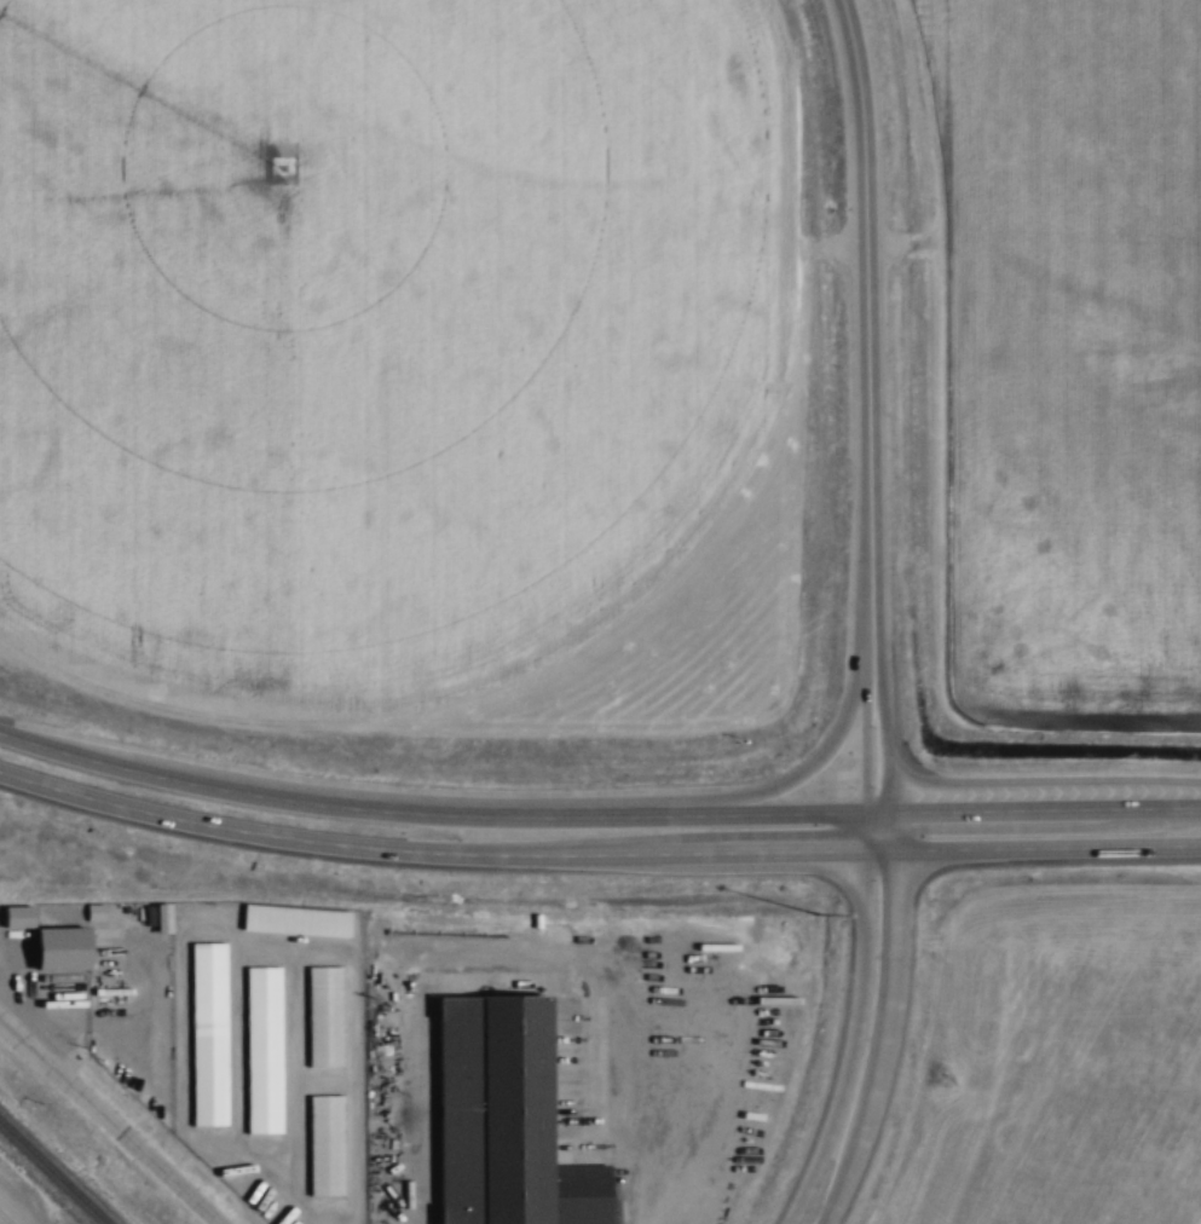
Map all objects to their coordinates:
road: (866, 288)
road: (862, 714)
road: (884, 714)
road: (803, 773)
road: (1045, 809)
road: (440, 814)
road: (1032, 847)
road: (427, 850)
street lamp: (815, 908)
building: (194, 914)
building: (301, 928)
building: (69, 959)
building: (329, 1023)
building: (213, 1039)
road: (847, 1041)
road: (888, 1041)
building: (267, 1057)
building: (504, 1115)
road: (109, 1120)
building: (333, 1154)
railway: (56, 1171)

